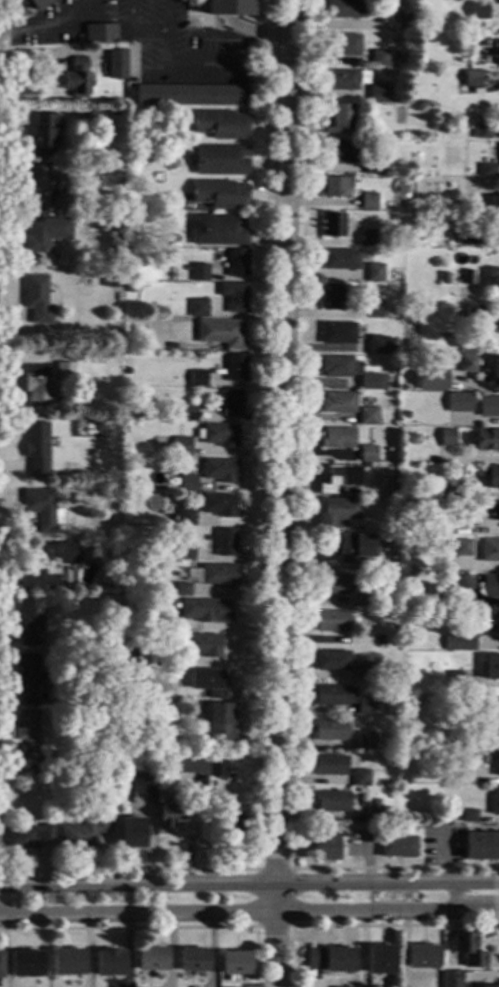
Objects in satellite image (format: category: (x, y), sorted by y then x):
building: (498, 1)
building: (37, 4)
building: (228, 8)
building: (346, 10)
building: (478, 11)
building: (407, 22)
road: (47, 25)
road: (148, 31)
road: (255, 31)
building: (99, 33)
parking lot: (144, 40)
building: (342, 45)
building: (496, 53)
building: (380, 58)
road: (53, 60)
building: (116, 64)
road: (181, 73)
building: (77, 78)
building: (470, 78)
building: (340, 80)
building: (378, 93)
building: (192, 95)
building: (410, 96)
building: (95, 115)
building: (338, 119)
building: (220, 124)
building: (481, 131)
building: (44, 134)
building: (412, 146)
building: (340, 152)
building: (221, 160)
building: (374, 166)
building: (487, 170)
building: (35, 186)
building: (336, 186)
building: (219, 194)
building: (58, 196)
building: (368, 201)
road: (3, 203)
building: (494, 205)
building: (115, 224)
building: (332, 225)
building: (218, 230)
building: (45, 233)
building: (470, 236)
building: (366, 237)
building: (452, 241)
building: (340, 259)
building: (237, 262)
building: (199, 273)
building: (375, 273)
building: (463, 277)
building: (444, 278)
building: (495, 278)
building: (130, 289)
building: (234, 297)
building: (331, 297)
building: (36, 299)
building: (197, 308)
building: (373, 309)
building: (220, 333)
building: (337, 333)
building: (380, 346)
building: (217, 347)
building: (199, 357)
building: (466, 360)
building: (336, 366)
building: (234, 368)
building: (493, 368)
building: (64, 371)
building: (197, 378)
building: (431, 379)
building: (372, 382)
building: (61, 389)
building: (37, 391)
building: (231, 402)
building: (337, 403)
building: (459, 403)
building: (488, 406)
building: (186, 413)
building: (404, 415)
building: (367, 416)
building: (123, 429)
building: (220, 435)
building: (336, 438)
building: (446, 438)
building: (409, 439)
building: (486, 439)
building: (36, 447)
building: (180, 447)
building: (367, 454)
building: (198, 466)
building: (364, 466)
building: (220, 470)
building: (490, 477)
building: (339, 478)
building: (173, 481)
building: (187, 482)
building: (445, 490)
road: (281, 494)
building: (398, 495)
building: (74, 497)
building: (218, 505)
building: (41, 509)
building: (436, 509)
building: (482, 510)
building: (337, 512)
building: (185, 517)
road: (297, 537)
building: (225, 543)
building: (353, 547)
building: (458, 547)
building: (184, 551)
building: (489, 551)
building: (171, 557)
road: (259, 561)
building: (48, 565)
building: (218, 576)
building: (446, 578)
building: (333, 584)
building: (459, 586)
building: (488, 587)
building: (180, 589)
building: (93, 591)
building: (360, 600)
building: (204, 611)
building: (29, 622)
building: (332, 622)
building: (486, 622)
building: (162, 623)
building: (379, 640)
building: (462, 643)
building: (203, 645)
building: (128, 654)
building: (331, 661)
building: (491, 668)
building: (364, 671)
building: (27, 678)
building: (452, 681)
building: (208, 682)
building: (334, 696)
building: (90, 704)
building: (200, 704)
building: (364, 707)
building: (88, 710)
building: (123, 720)
building: (219, 722)
building: (495, 723)
building: (330, 730)
building: (27, 732)
building: (364, 741)
building: (183, 756)
building: (474, 760)
building: (498, 761)
building: (328, 766)
building: (98, 768)
building: (106, 769)
building: (216, 769)
building: (188, 770)
building: (196, 773)
building: (360, 777)
building: (142, 784)
building: (330, 801)
building: (494, 801)
building: (376, 802)
building: (170, 812)
building: (372, 813)
building: (468, 815)
building: (233, 826)
building: (83, 832)
building: (131, 833)
building: (28, 836)
building: (481, 846)
building: (324, 847)
building: (397, 847)
road: (249, 884)
road: (453, 897)
road: (249, 912)
road: (363, 925)
road: (254, 926)
road: (157, 927)
building: (463, 942)
building: (422, 957)
building: (151, 959)
building: (193, 960)
building: (330, 960)
building: (379, 960)
building: (67, 962)
building: (109, 963)
building: (234, 963)
building: (25, 964)
building: (0, 965)
building: (451, 979)
building: (338, 986)
building: (488, 986)

